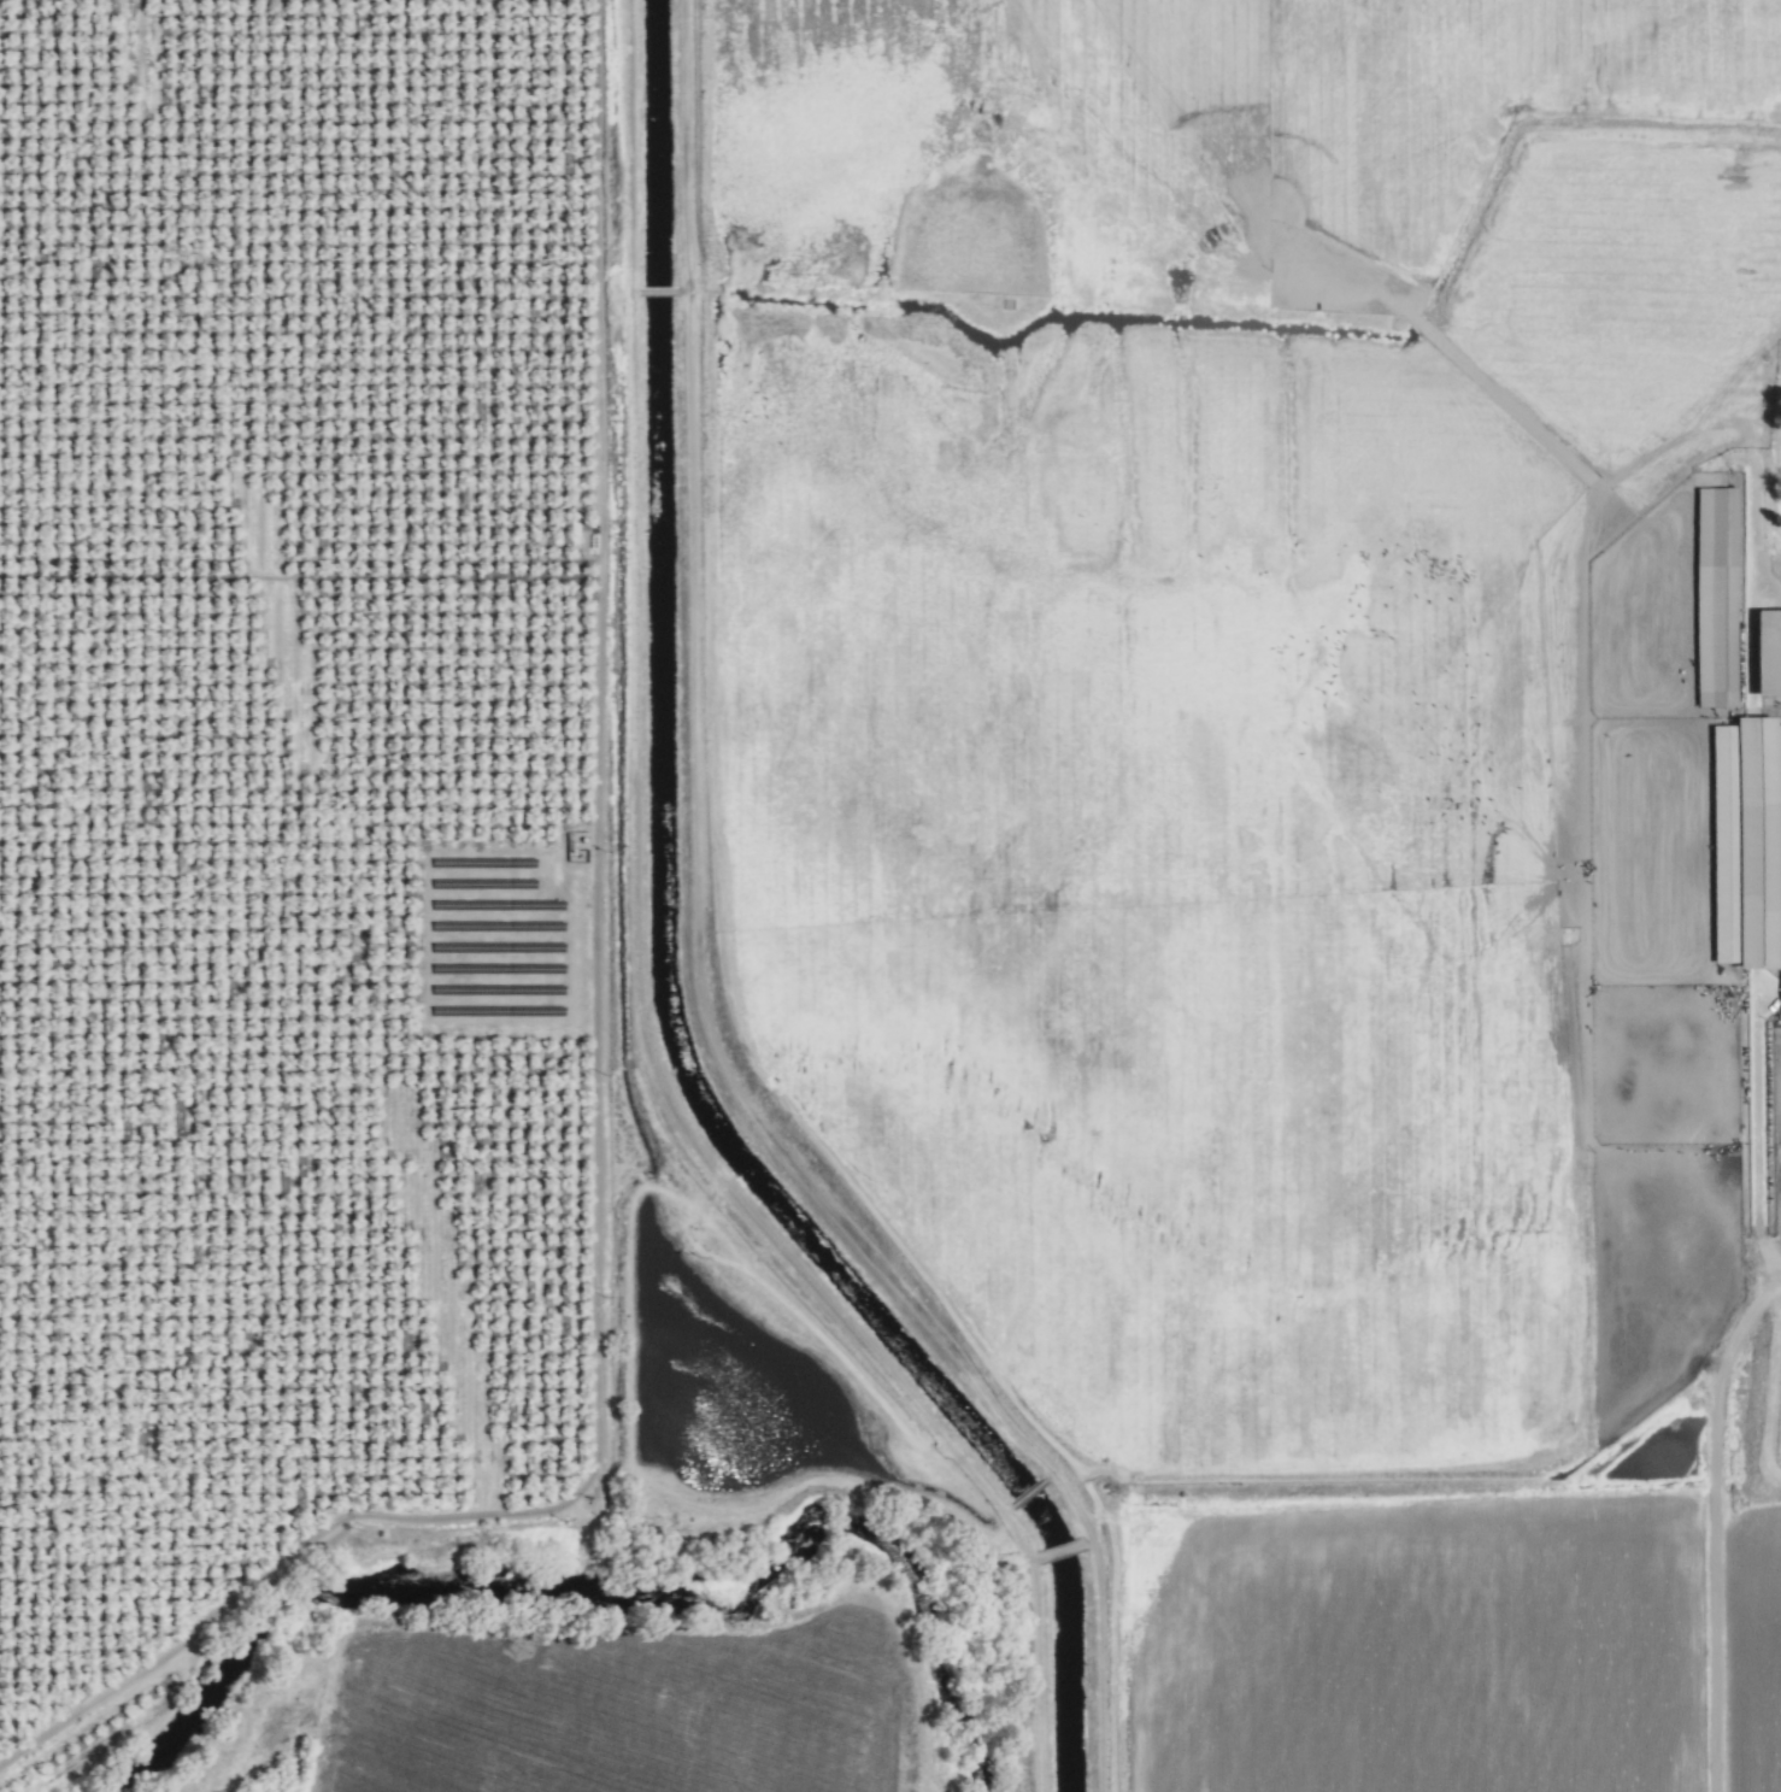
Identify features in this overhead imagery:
power tower: (189, 260)
building: (1714, 599)
building: (1765, 653)
building: (1744, 844)
power tower: (355, 947)
building: (1780, 992)
road: (1775, 1281)
road: (1720, 1381)
power tower: (522, 1649)

